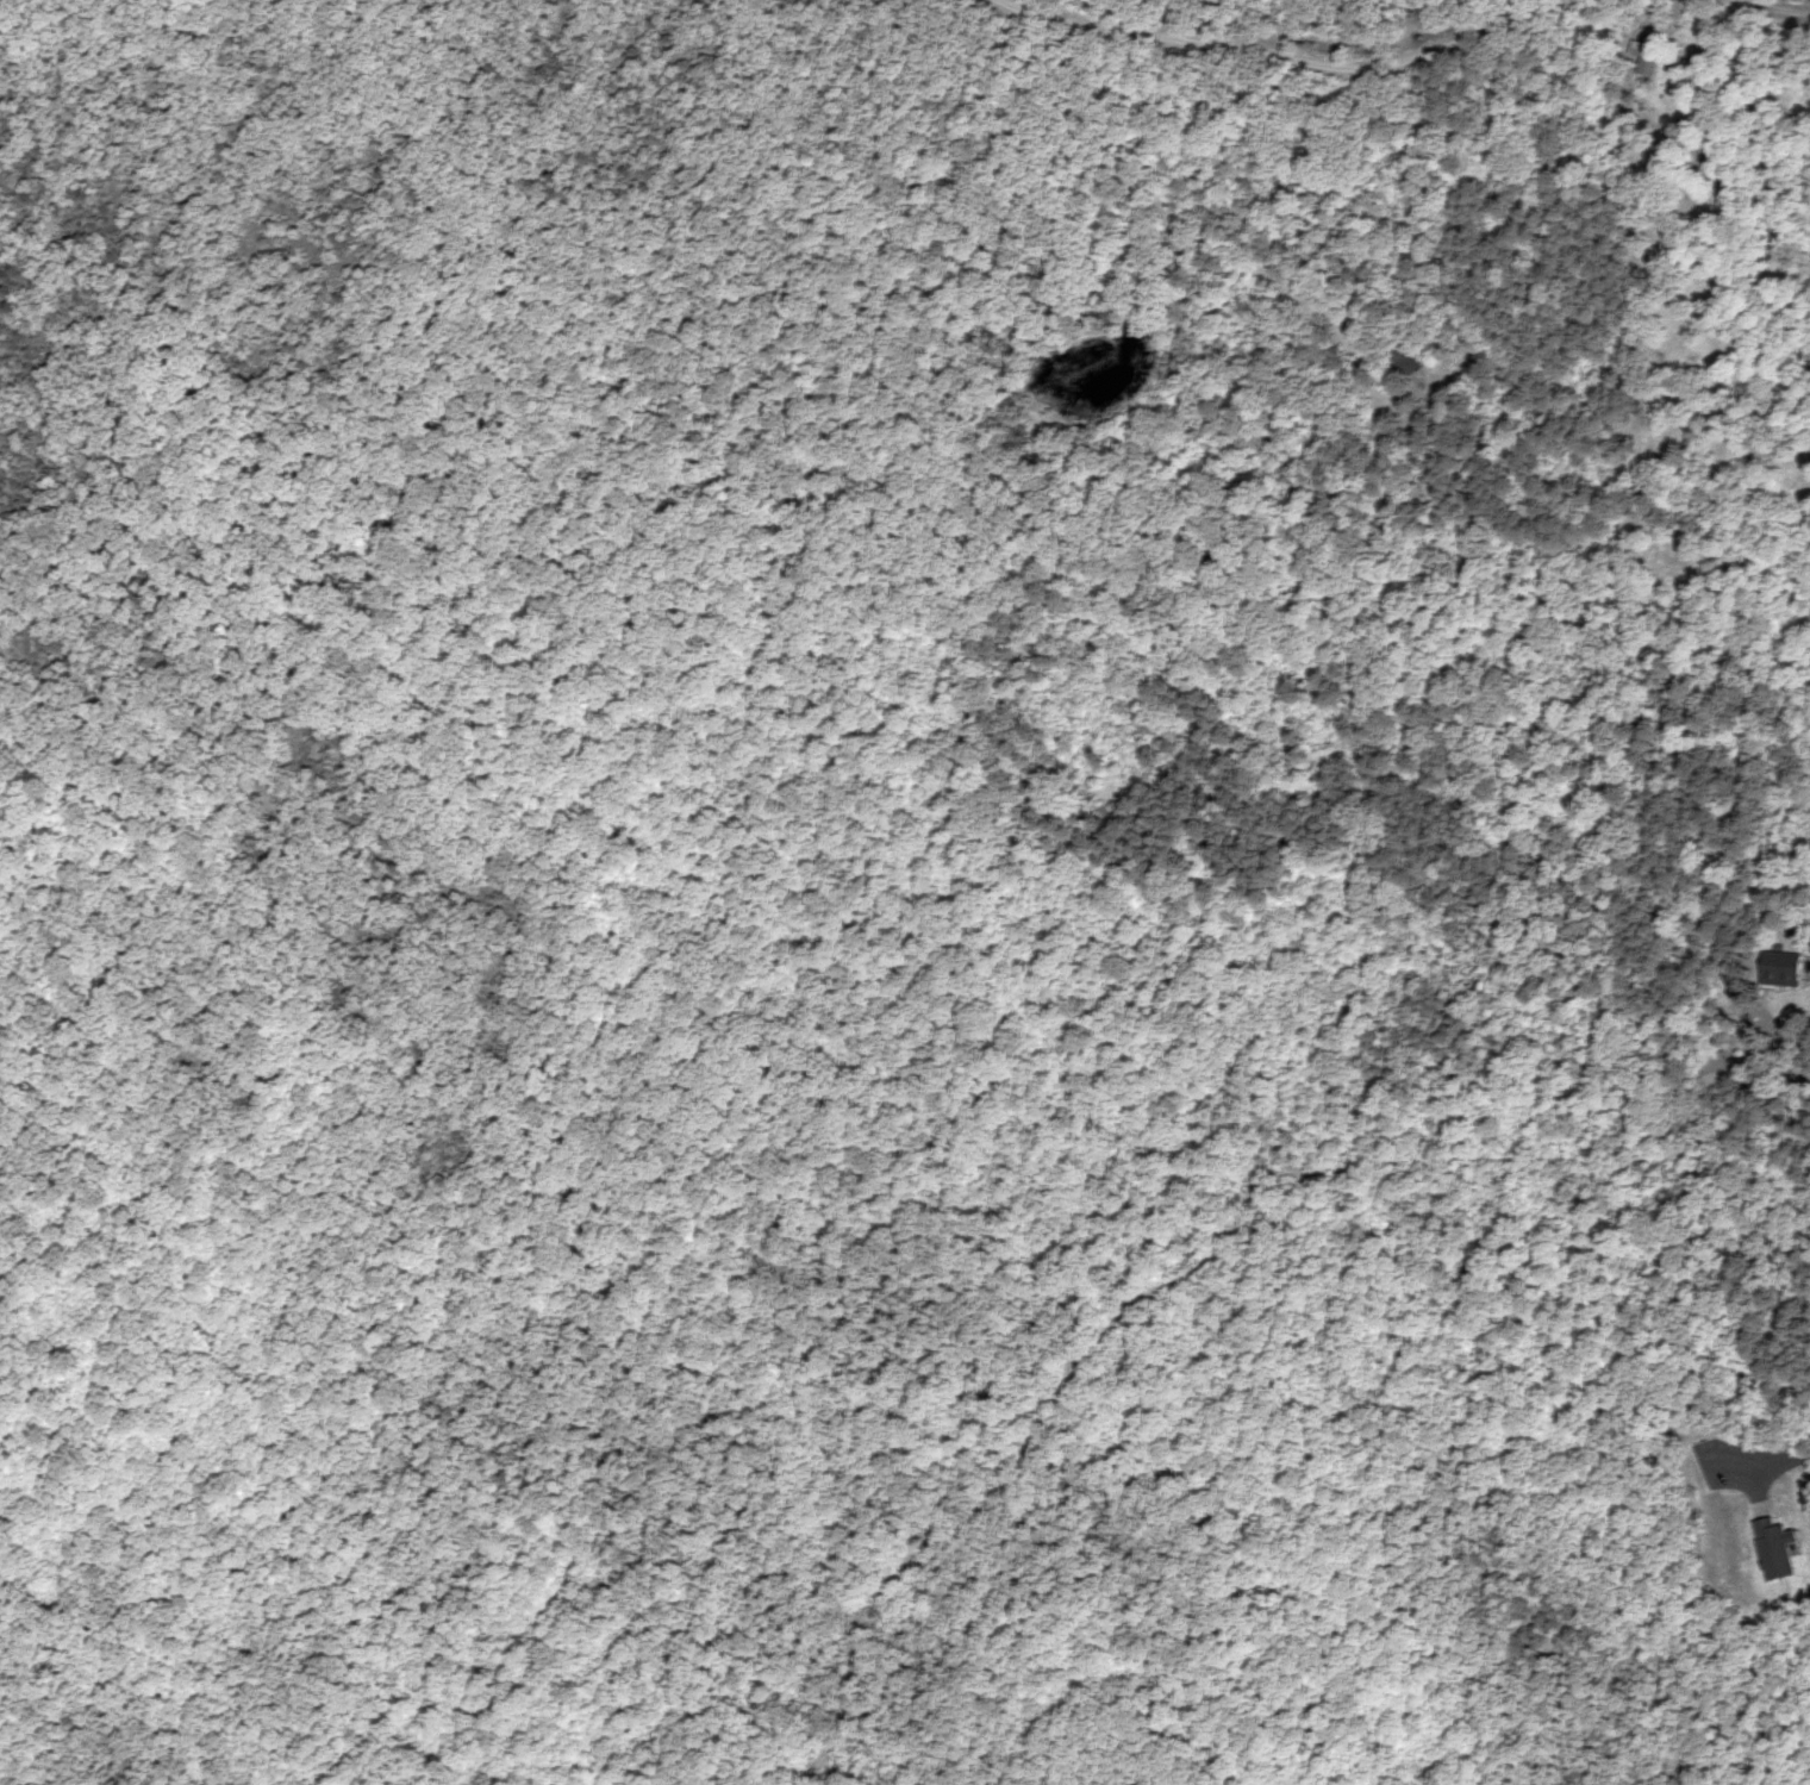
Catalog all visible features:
building: (1406, 361)
building: (1783, 970)
building: (1717, 1071)
road: (1775, 1468)
building: (1777, 1549)

